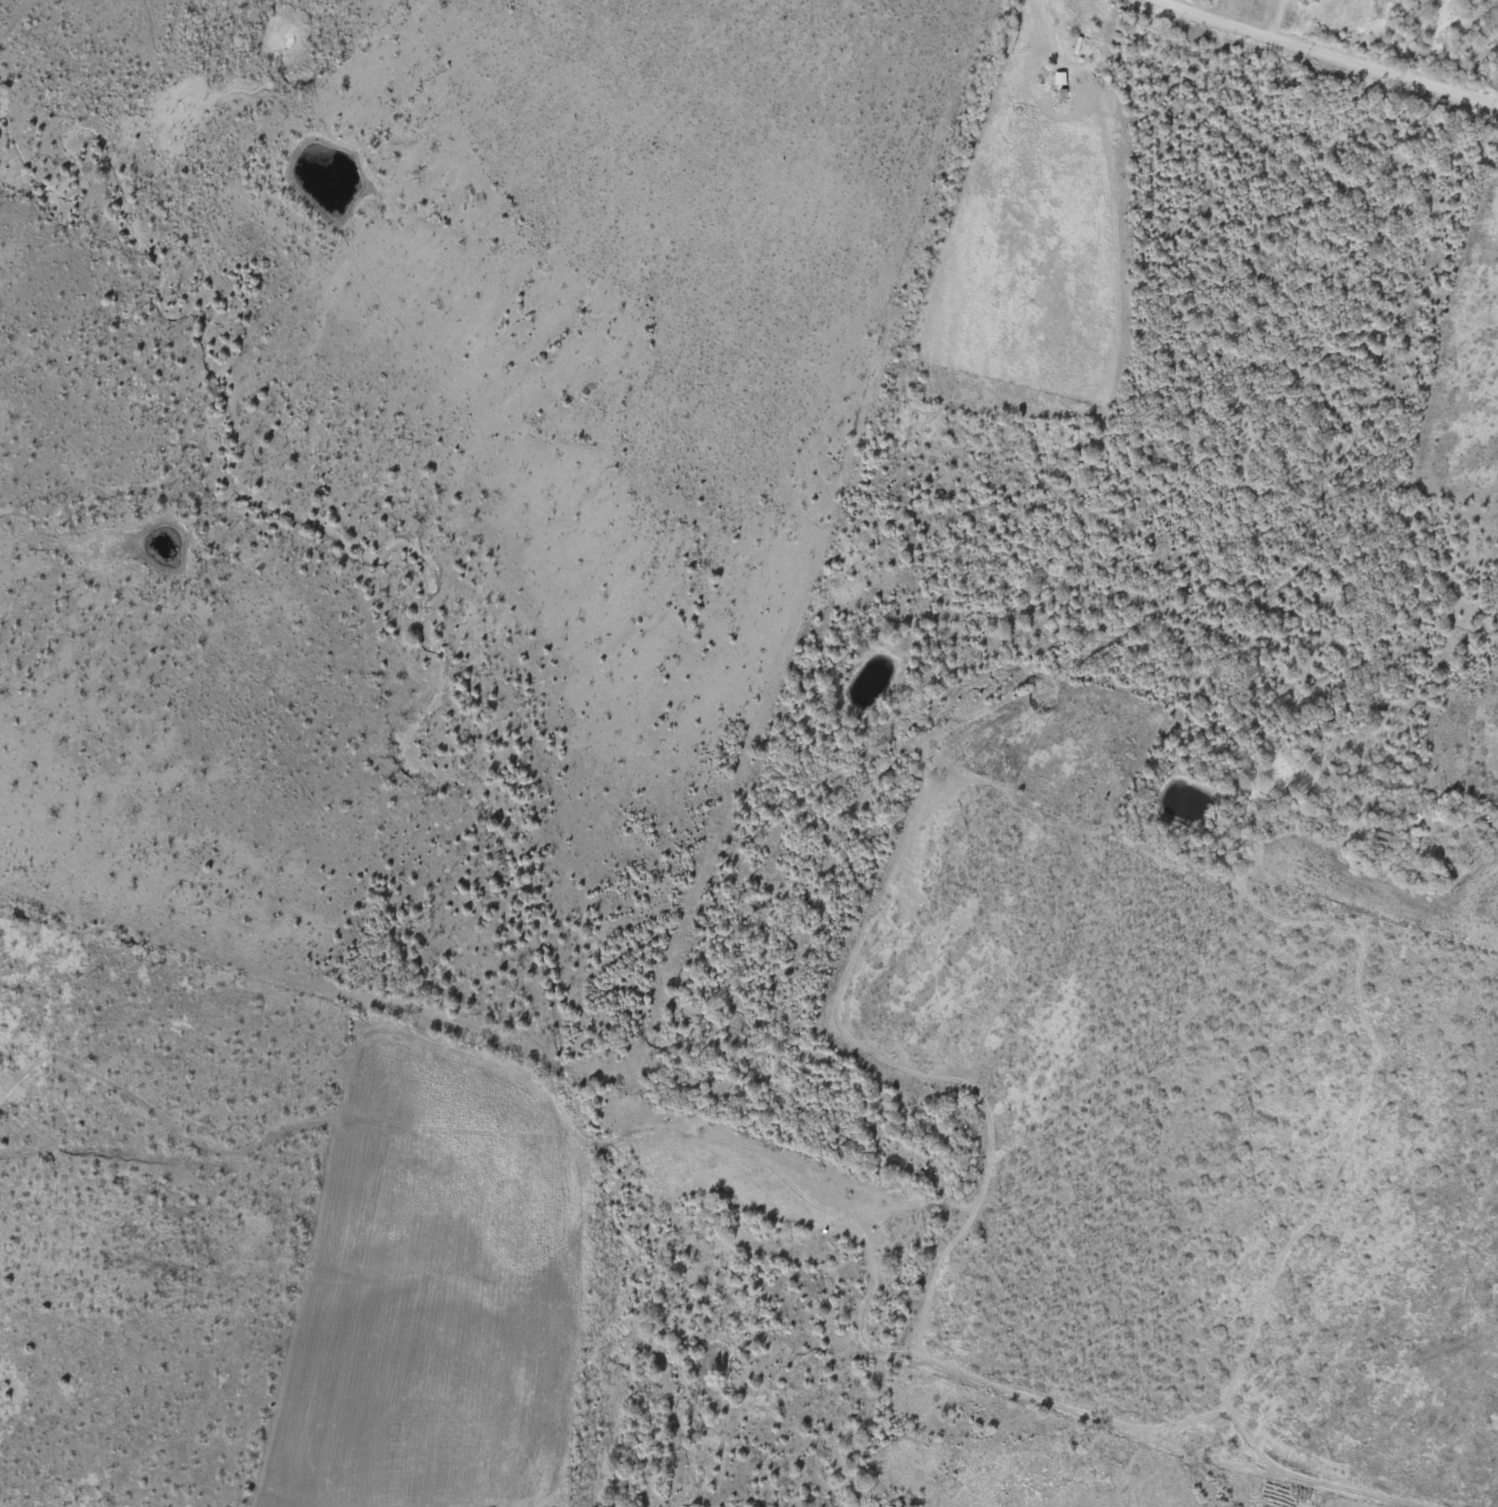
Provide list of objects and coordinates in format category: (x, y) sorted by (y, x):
road: (1328, 52)

